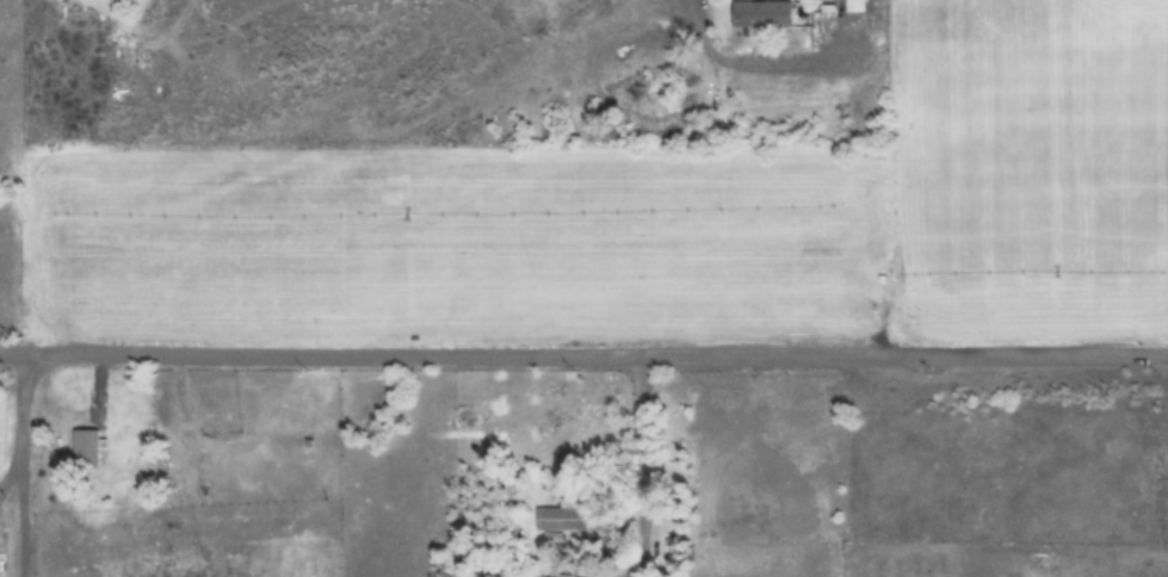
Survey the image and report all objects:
building: (762, 14)
crop: (583, 288)
building: (859, 299)
road: (583, 359)
road: (648, 438)
building: (85, 448)
road: (25, 464)
building: (563, 519)
building: (555, 576)

